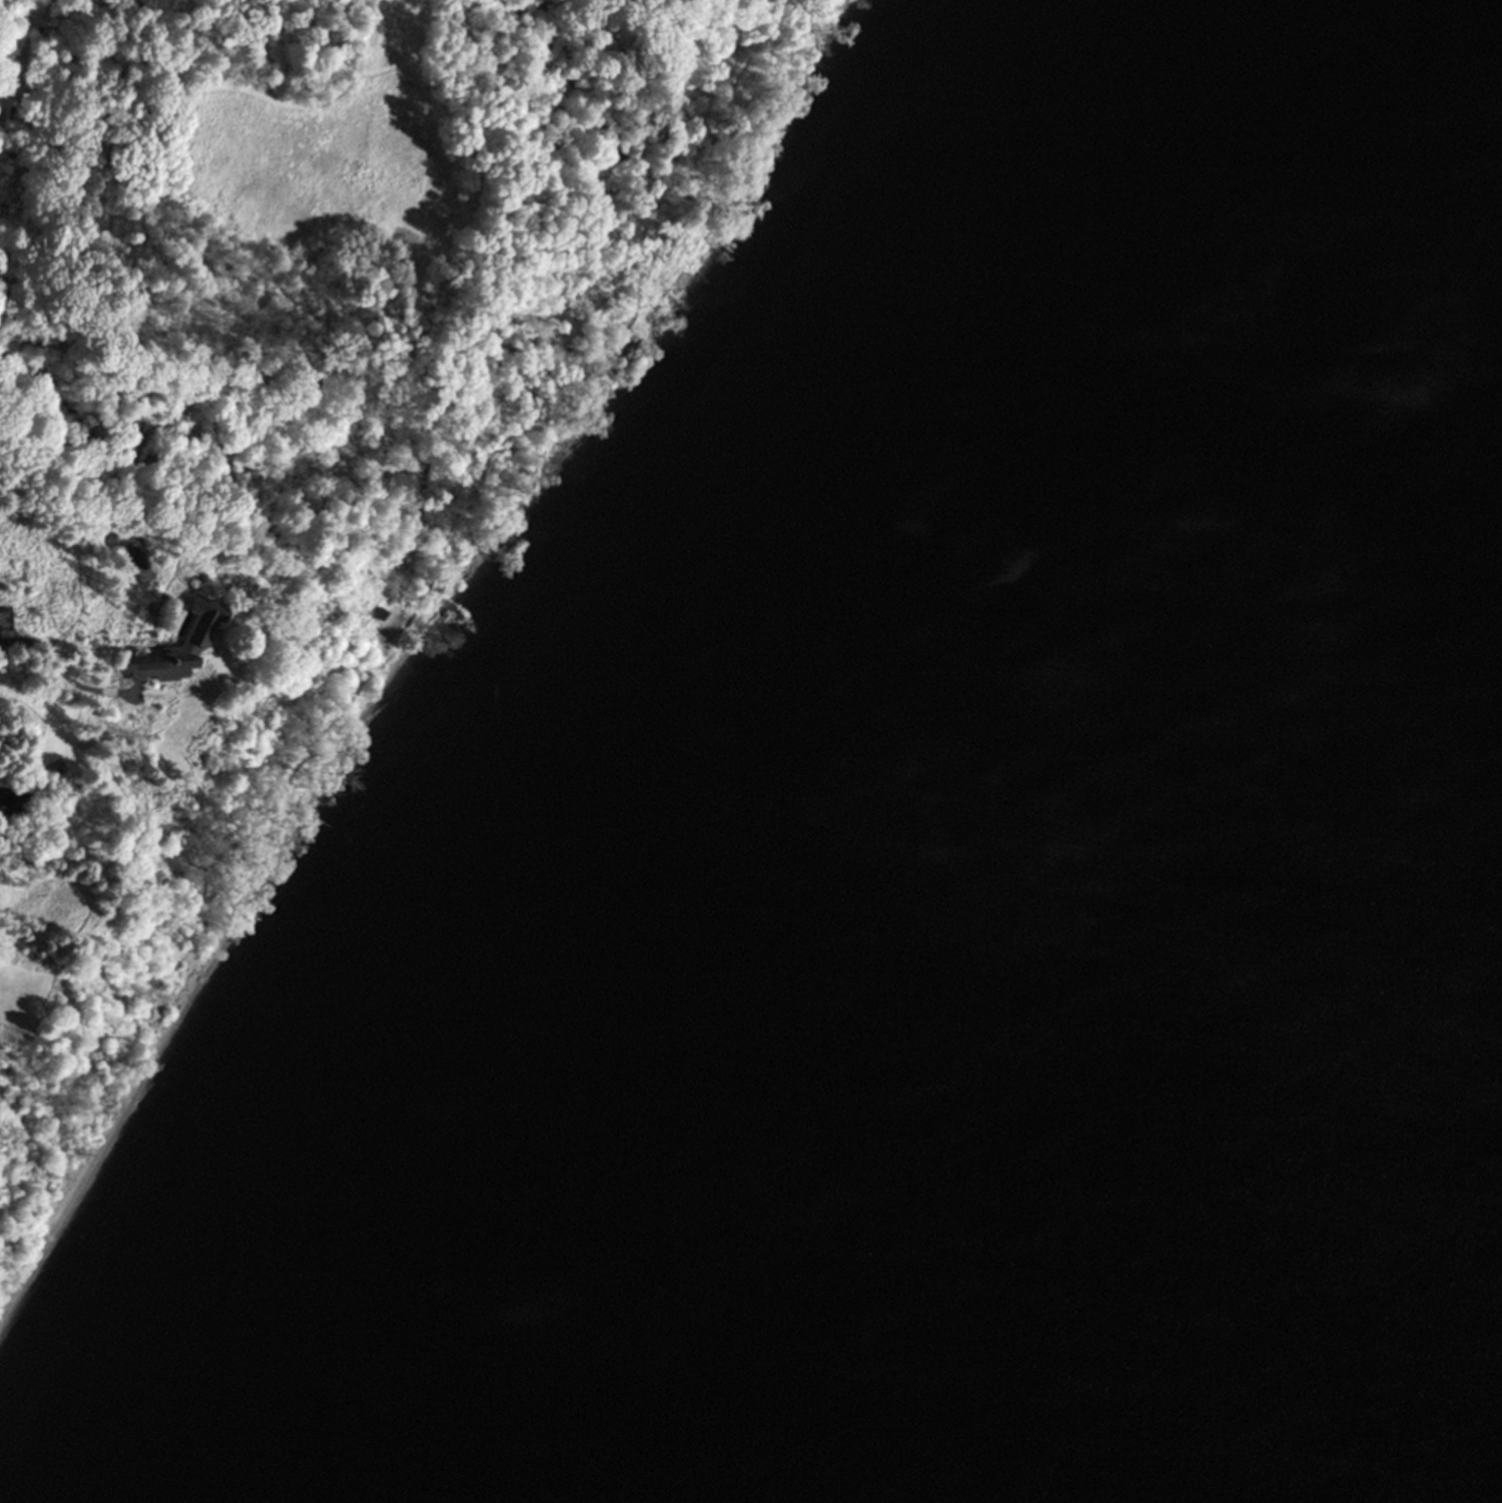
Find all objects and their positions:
road: (21, 642)

